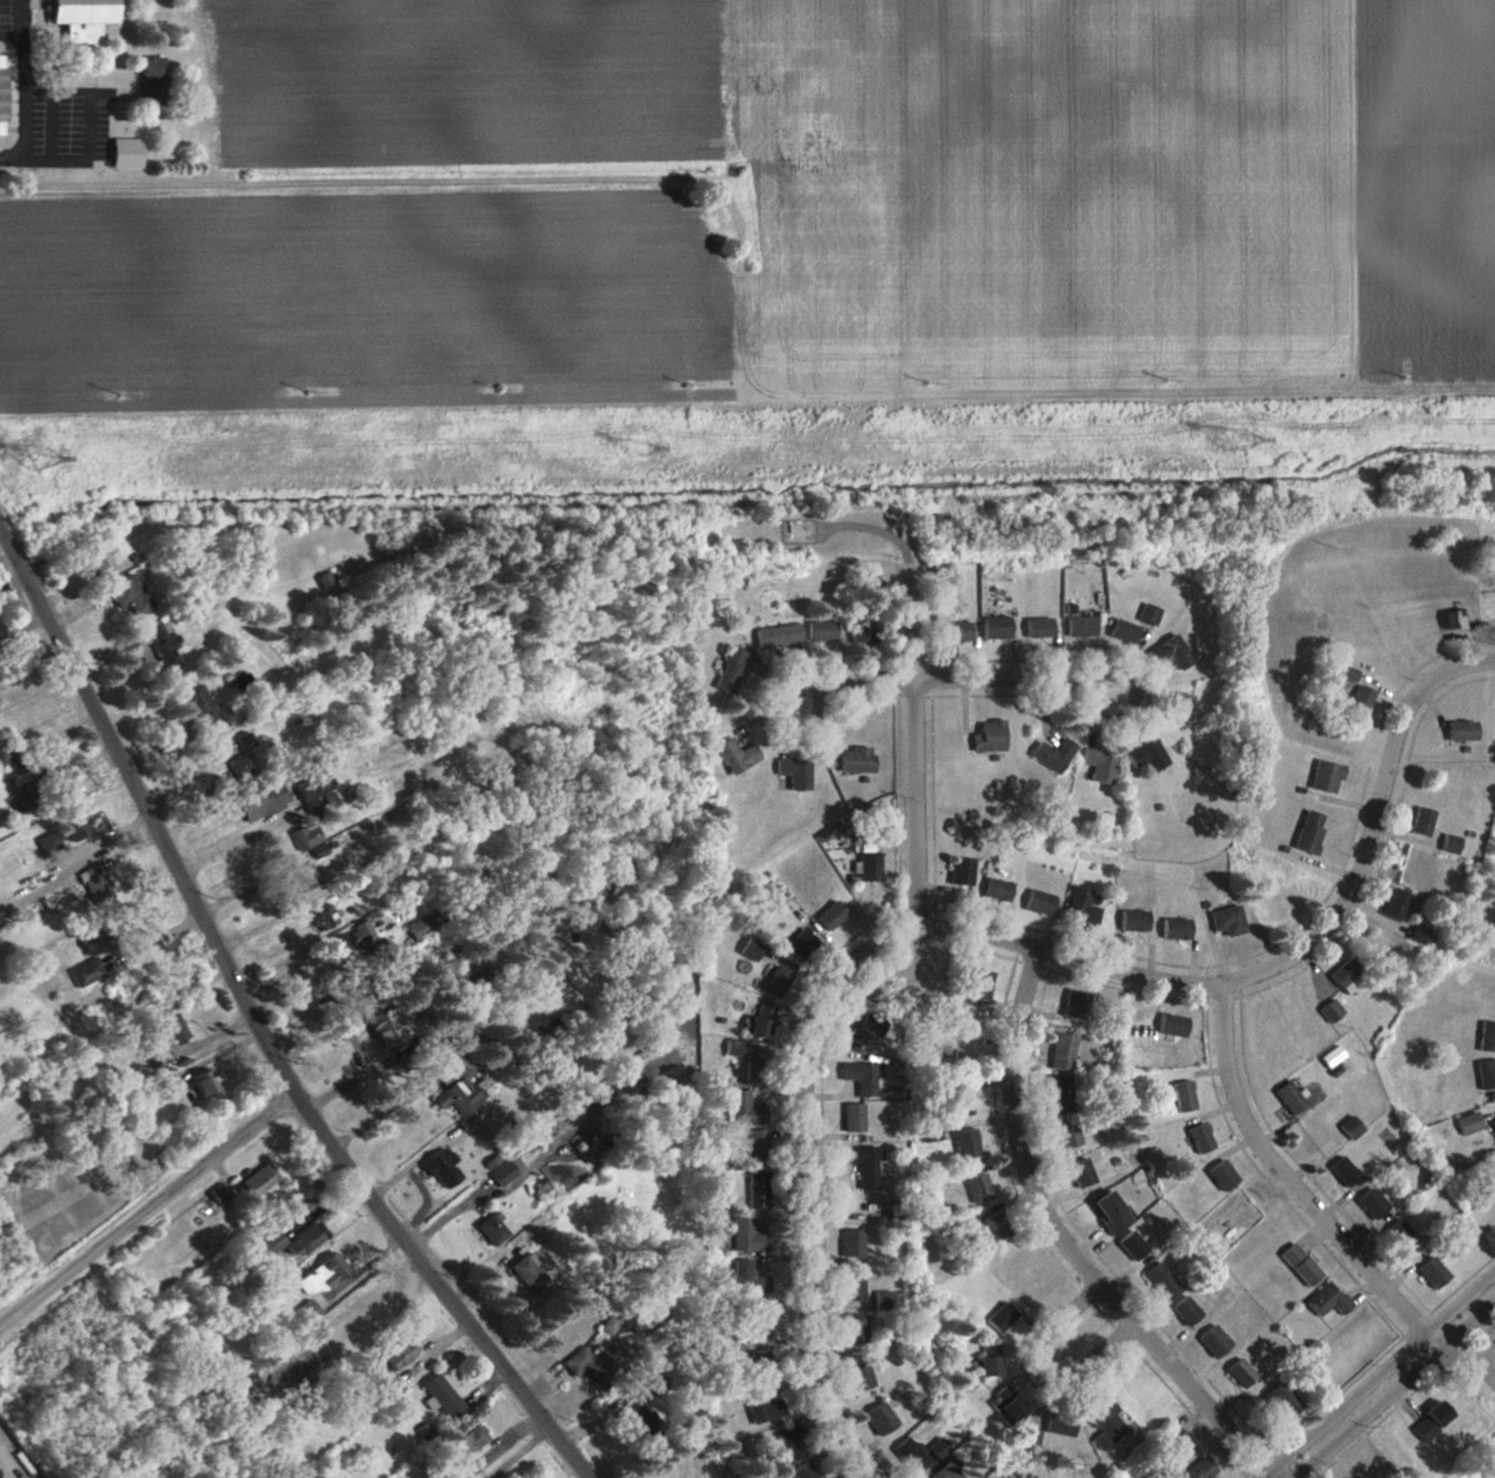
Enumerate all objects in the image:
building: (78, 22)
building: (147, 78)
building: (0, 87)
road: (85, 95)
road: (9, 156)
building: (120, 158)
road: (381, 191)
power tower: (1227, 440)
power tower: (634, 449)
power tower: (40, 458)
building: (96, 558)
building: (865, 578)
building: (324, 579)
building: (124, 594)
building: (1490, 612)
building: (1146, 613)
building: (1453, 618)
building: (1077, 626)
building: (993, 627)
building: (1036, 627)
building: (820, 630)
building: (953, 631)
building: (1121, 631)
building: (857, 633)
building: (776, 636)
building: (159, 644)
building: (1168, 652)
building: (728, 670)
road: (952, 679)
building: (1356, 701)
building: (200, 705)
building: (1177, 709)
building: (1458, 730)
building: (986, 736)
road: (915, 745)
building: (1050, 754)
building: (1144, 755)
building: (734, 756)
building: (4, 758)
building: (851, 760)
building: (239, 762)
building: (1096, 766)
building: (791, 773)
building: (1322, 776)
building: (261, 800)
building: (1419, 822)
building: (1306, 831)
building: (59, 833)
building: (304, 836)
road: (234, 838)
building: (826, 838)
building: (866, 868)
building: (958, 872)
building: (301, 878)
building: (994, 889)
building: (1036, 902)
building: (1392, 904)
building: (1078, 905)
building: (1266, 911)
building: (827, 916)
building: (322, 918)
building: (1130, 920)
building: (1224, 921)
road: (268, 923)
building: (422, 927)
building: (1172, 929)
building: (358, 939)
building: (797, 946)
road: (1290, 955)
building: (1494, 960)
building: (1342, 971)
building: (79, 974)
building: (775, 981)
building: (977, 983)
building: (1071, 1007)
building: (1328, 1010)
building: (757, 1020)
road: (260, 1022)
building: (380, 1024)
building: (1169, 1025)
building: (165, 1027)
building: (1485, 1036)
building: (737, 1049)
building: (1060, 1051)
building: (1484, 1073)
building: (858, 1077)
building: (202, 1081)
building: (453, 1085)
building: (1056, 1089)
building: (1181, 1096)
building: (957, 1097)
building: (1286, 1097)
building: (741, 1109)
road: (376, 1116)
building: (850, 1118)
building: (1467, 1123)
building: (1492, 1125)
building: (926, 1133)
building: (1065, 1133)
building: (1311, 1135)
building: (1197, 1137)
building: (755, 1142)
building: (963, 1143)
building: (860, 1165)
building: (517, 1166)
building: (1341, 1170)
building: (1078, 1172)
building: (1219, 1174)
building: (256, 1180)
road: (1290, 1181)
road: (806, 1183)
building: (976, 1188)
building: (753, 1190)
building: (1369, 1203)
road: (148, 1209)
building: (1106, 1212)
building: (992, 1226)
building: (488, 1228)
building: (1397, 1234)
building: (744, 1236)
building: (850, 1243)
road: (1066, 1243)
building: (1130, 1244)
building: (270, 1246)
building: (1298, 1264)
building: (1429, 1272)
building: (525, 1273)
building: (745, 1278)
building: (317, 1281)
building: (1159, 1281)
building: (851, 1286)
building: (1325, 1300)
building: (1182, 1311)
building: (370, 1316)
building: (998, 1318)
building: (756, 1321)
building: (853, 1328)
building: (1211, 1341)
building: (1494, 1343)
building: (731, 1352)
building: (395, 1354)
building: (596, 1361)
building: (984, 1365)
road: (1041, 1369)
building: (1238, 1373)
building: (857, 1377)
road: (1389, 1383)
building: (438, 1396)
building: (1279, 1398)
building: (754, 1405)
building: (1006, 1408)
building: (877, 1418)
building: (1426, 1421)
building: (1101, 1422)
building: (1056, 1427)
building: (466, 1440)
building: (781, 1455)
building: (912, 1457)
building: (1197, 1470)
building: (798, 1471)
building: (943, 1472)
building: (455, 1473)
building: (1165, 1475)
building: (1342, 1477)

